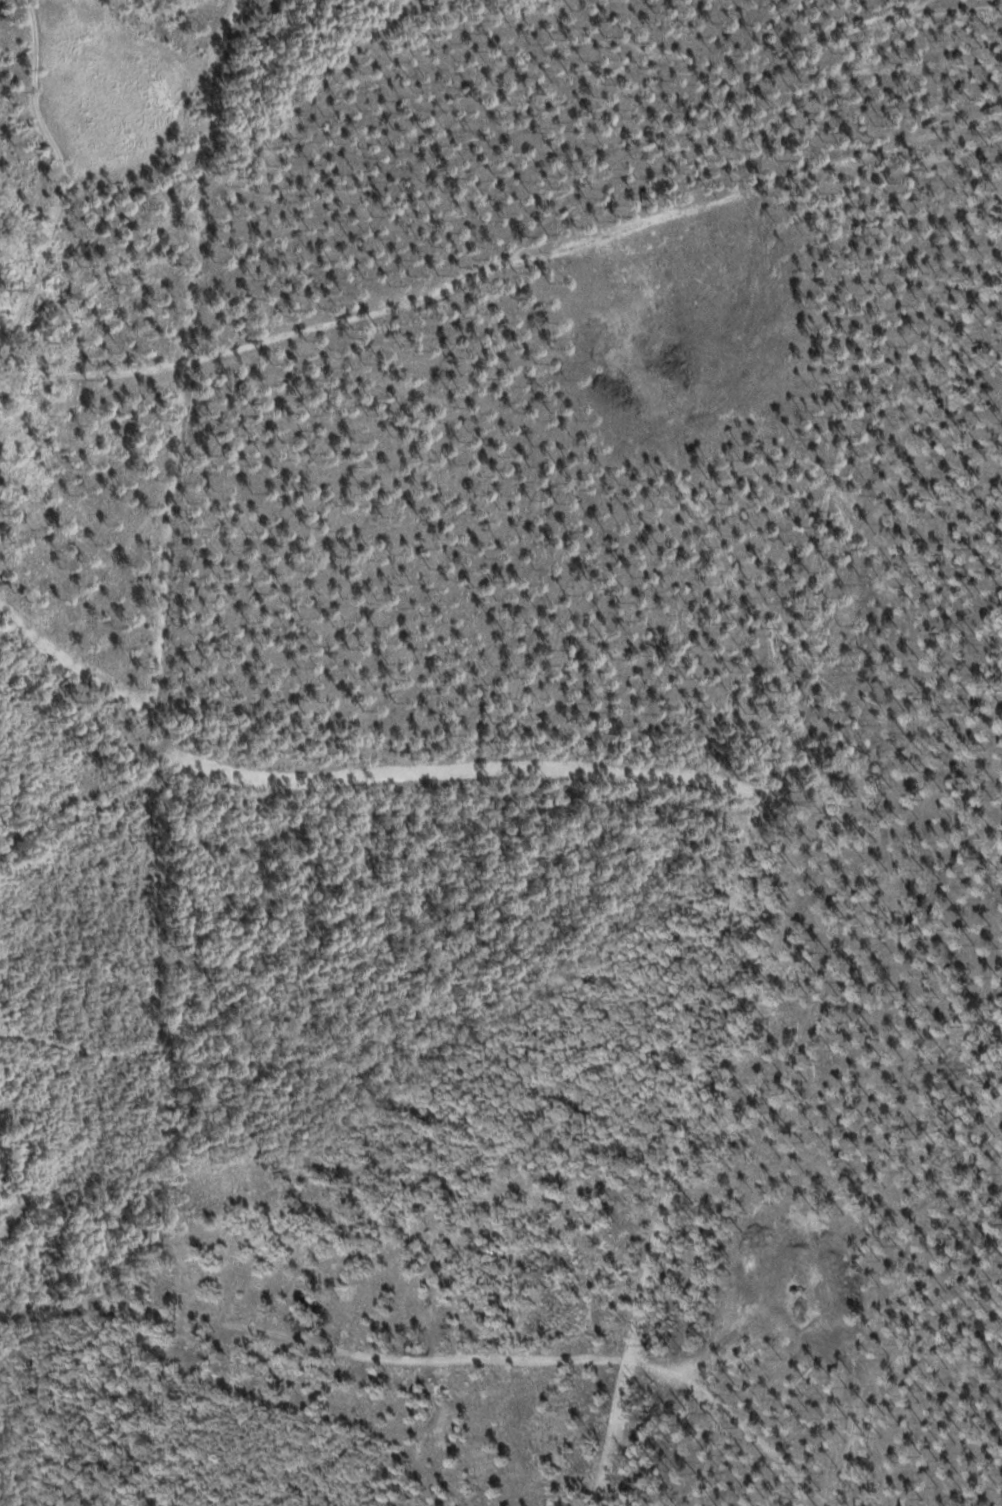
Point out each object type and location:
building: (14, 1092)

